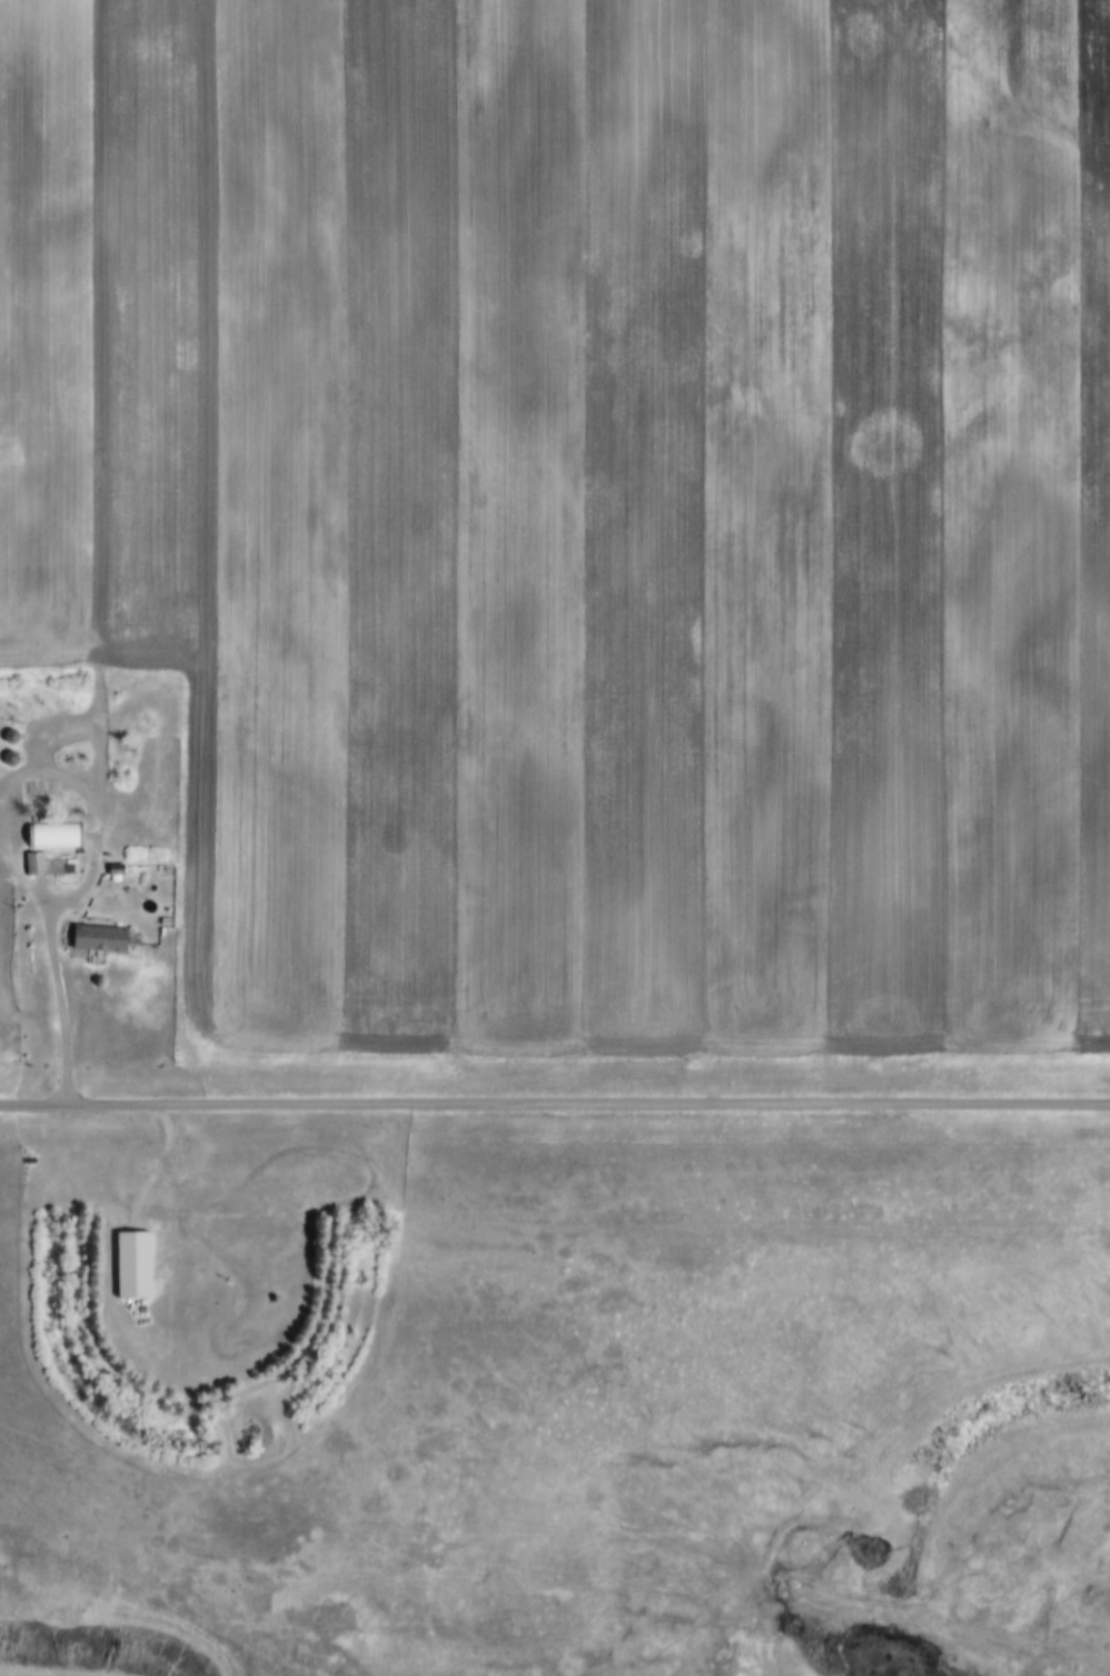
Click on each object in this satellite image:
building: (7, 735)
silo: (7, 735)
building: (6, 757)
silo: (6, 757)
road: (11, 829)
building: (53, 830)
building: (52, 865)
building: (110, 869)
building: (146, 909)
building: (95, 939)
road: (67, 987)
road: (554, 1106)
building: (129, 1264)
dam: (922, 1614)

